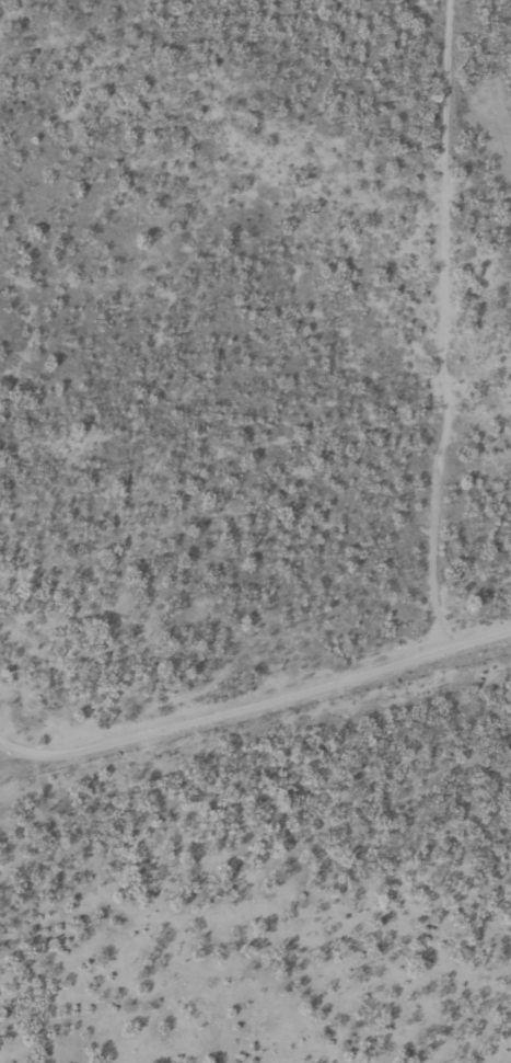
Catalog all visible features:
road: (256, 717)

